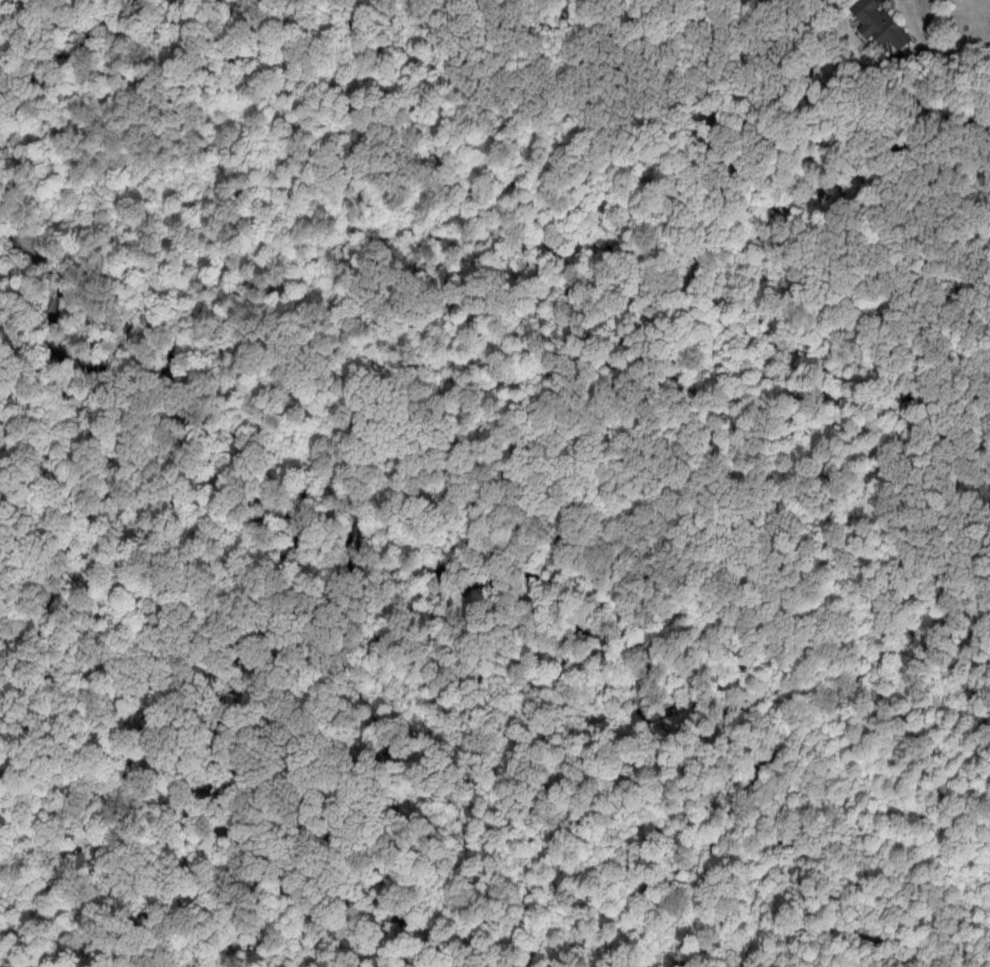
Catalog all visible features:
building: (875, 22)

